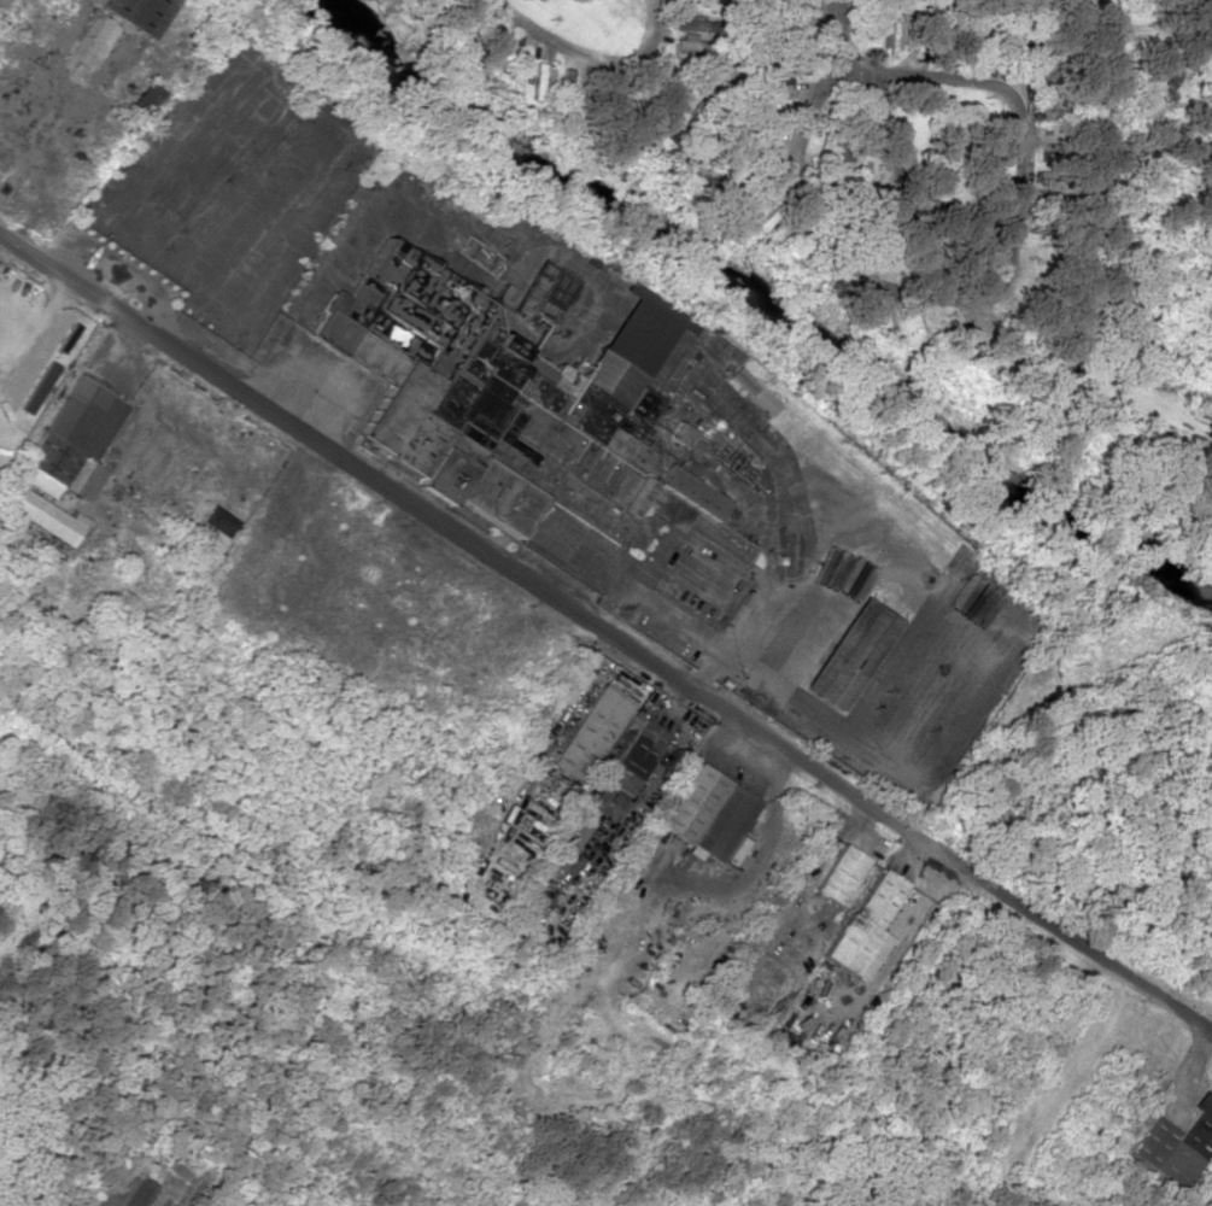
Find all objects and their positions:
building: (136, 13)
road: (836, 31)
building: (537, 81)
road: (904, 185)
road: (991, 289)
building: (545, 292)
river: (759, 300)
building: (751, 391)
building: (504, 403)
building: (680, 433)
building: (72, 441)
building: (41, 514)
building: (219, 521)
road: (605, 630)
building: (849, 654)
building: (591, 732)
building: (636, 761)
building: (710, 815)
building: (568, 841)
building: (839, 874)
building: (865, 926)
building: (1173, 1152)
building: (118, 1188)

